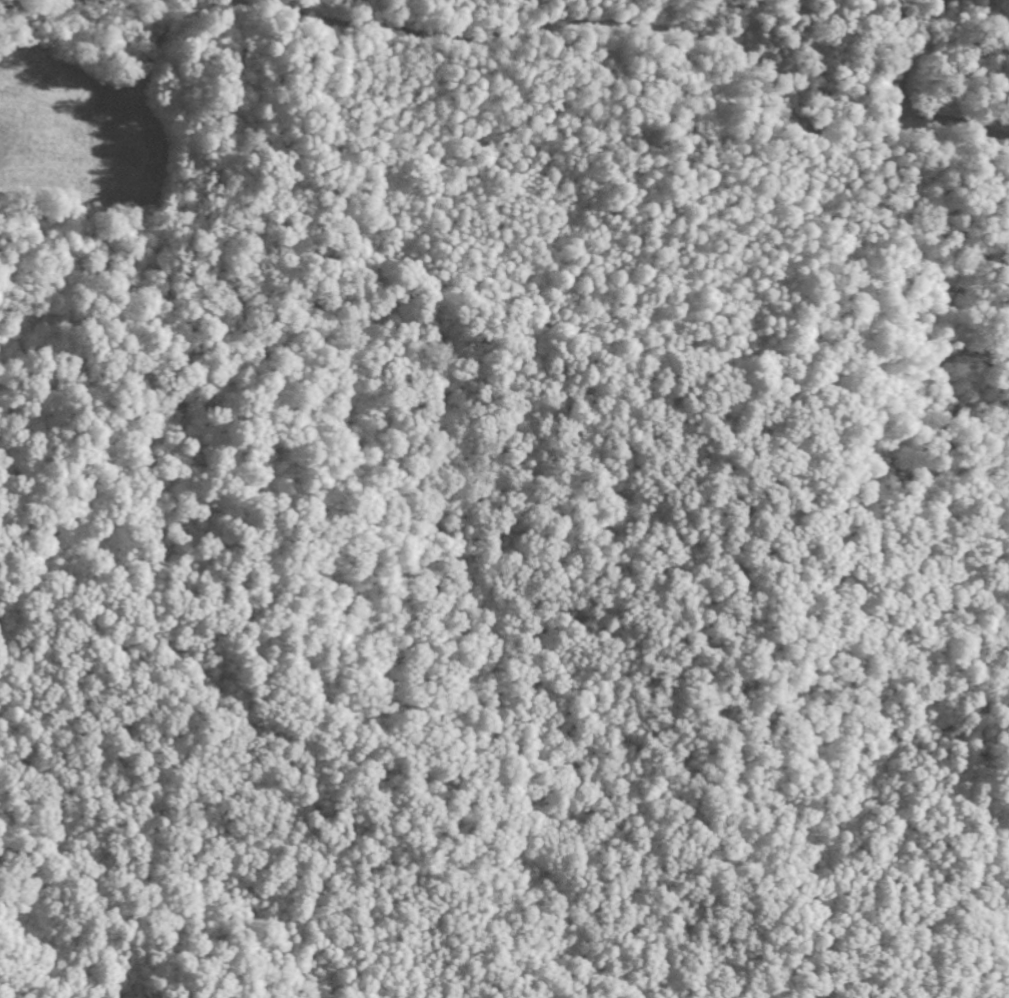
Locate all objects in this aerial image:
road: (910, 98)

